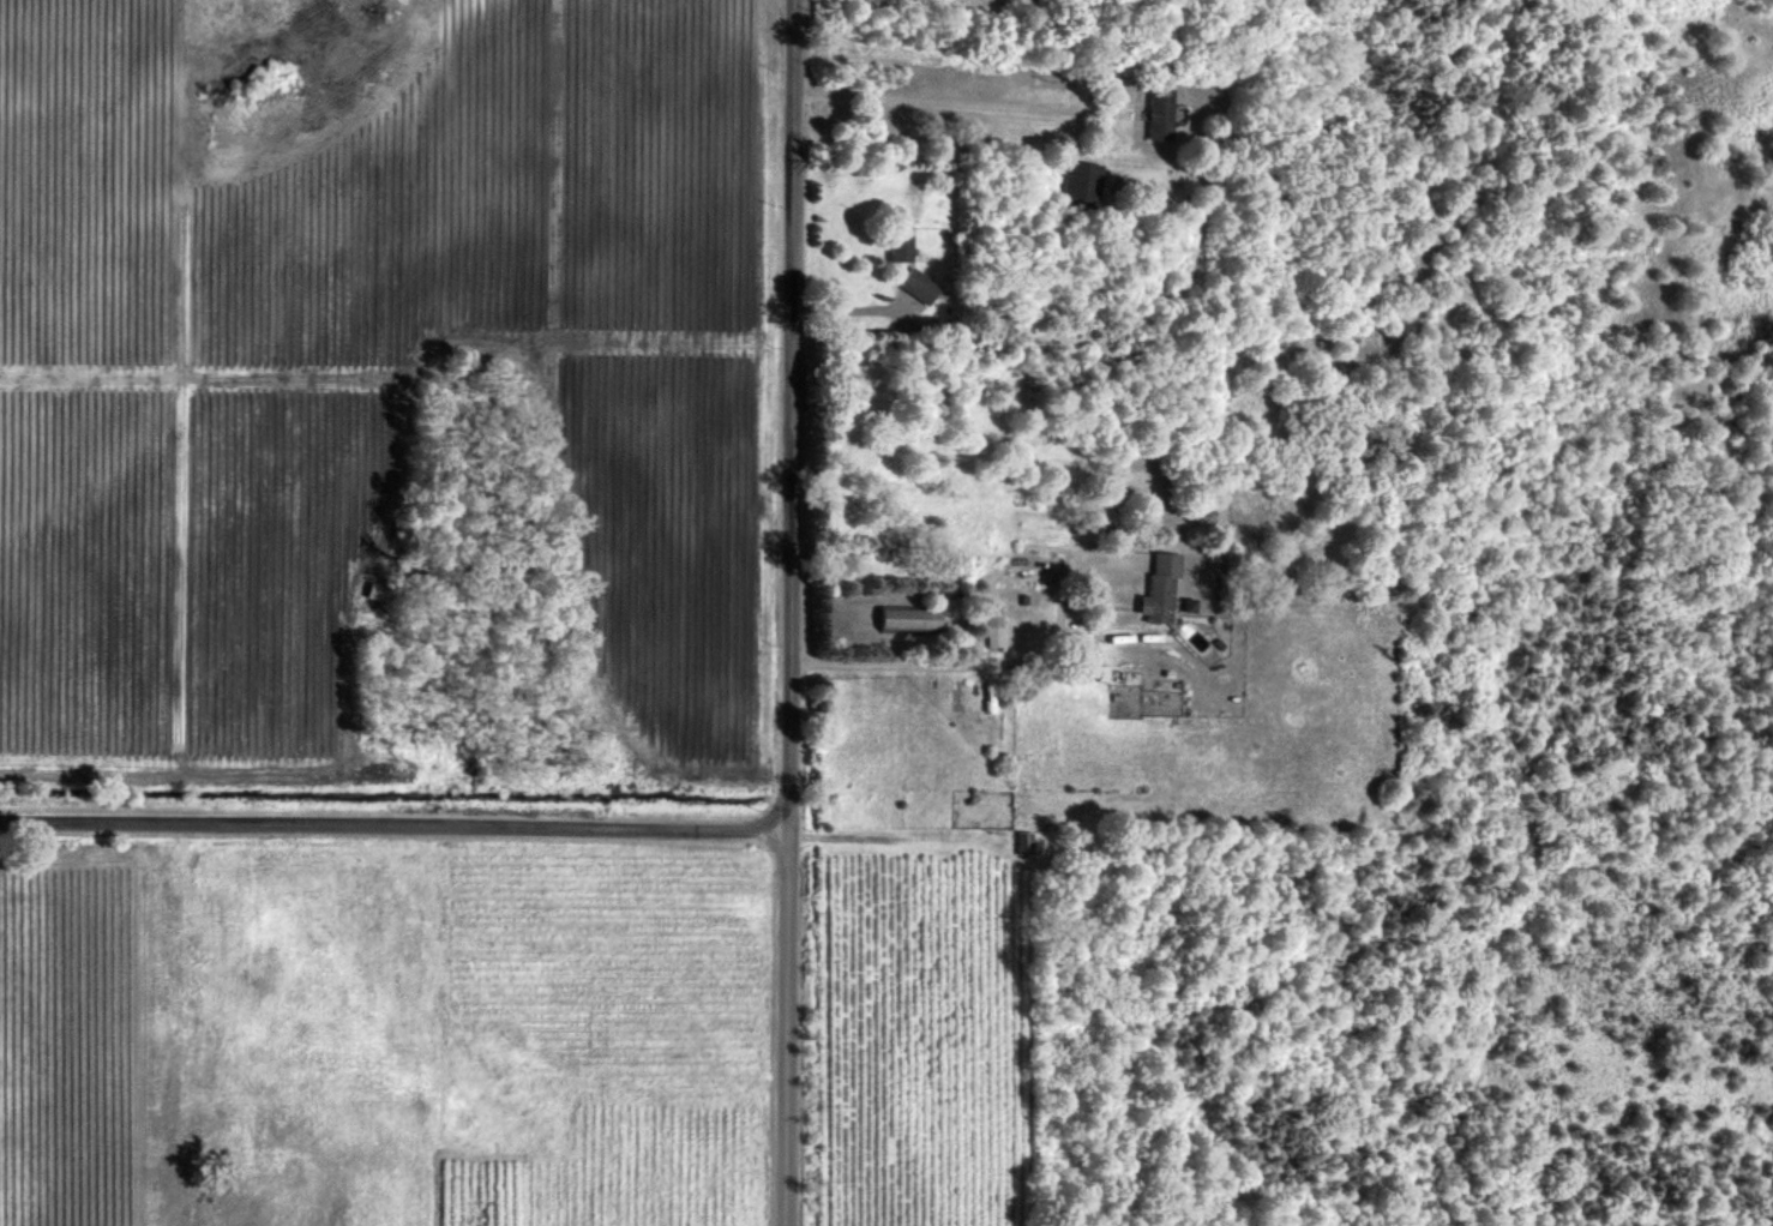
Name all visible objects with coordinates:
building: (1160, 113)
building: (1081, 182)
building: (901, 245)
building: (920, 286)
building: (1159, 588)
building: (1188, 605)
road: (794, 613)
building: (910, 618)
building: (994, 627)
road: (396, 825)

